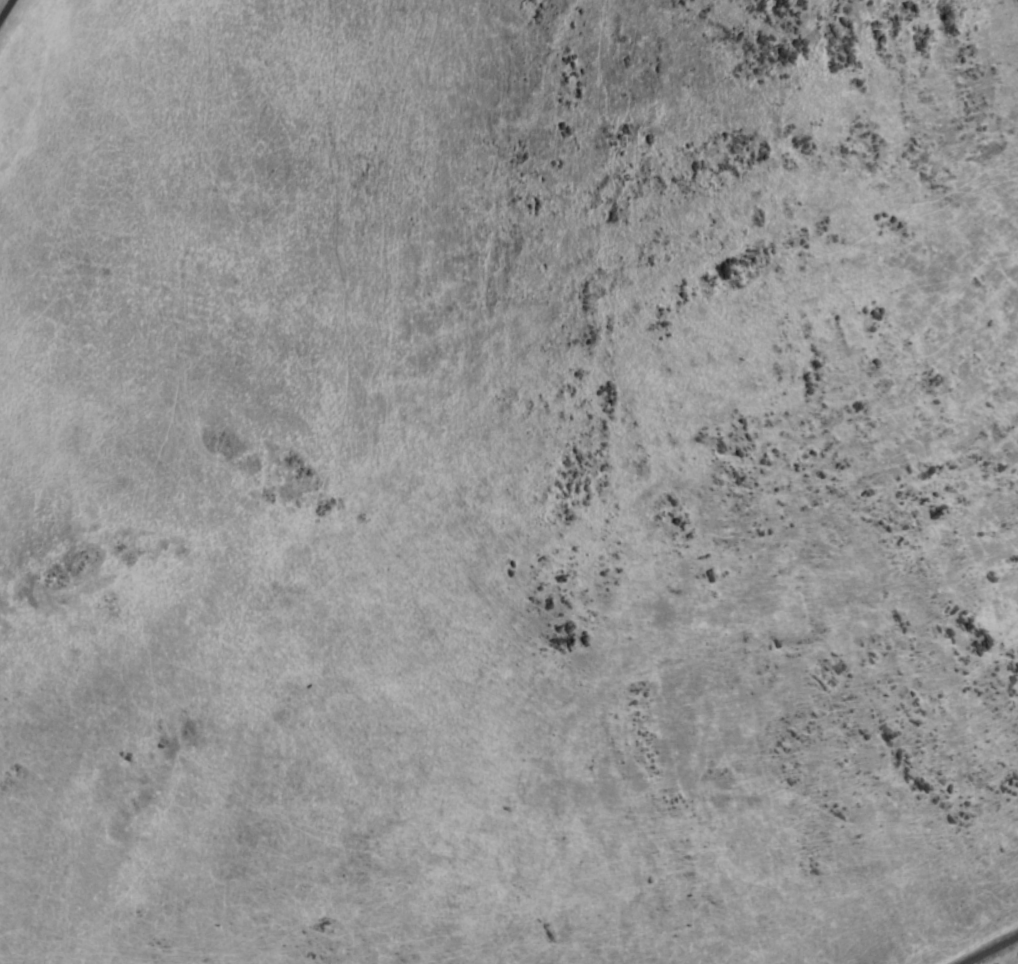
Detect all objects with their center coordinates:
road: (8, 12)
road: (989, 949)

